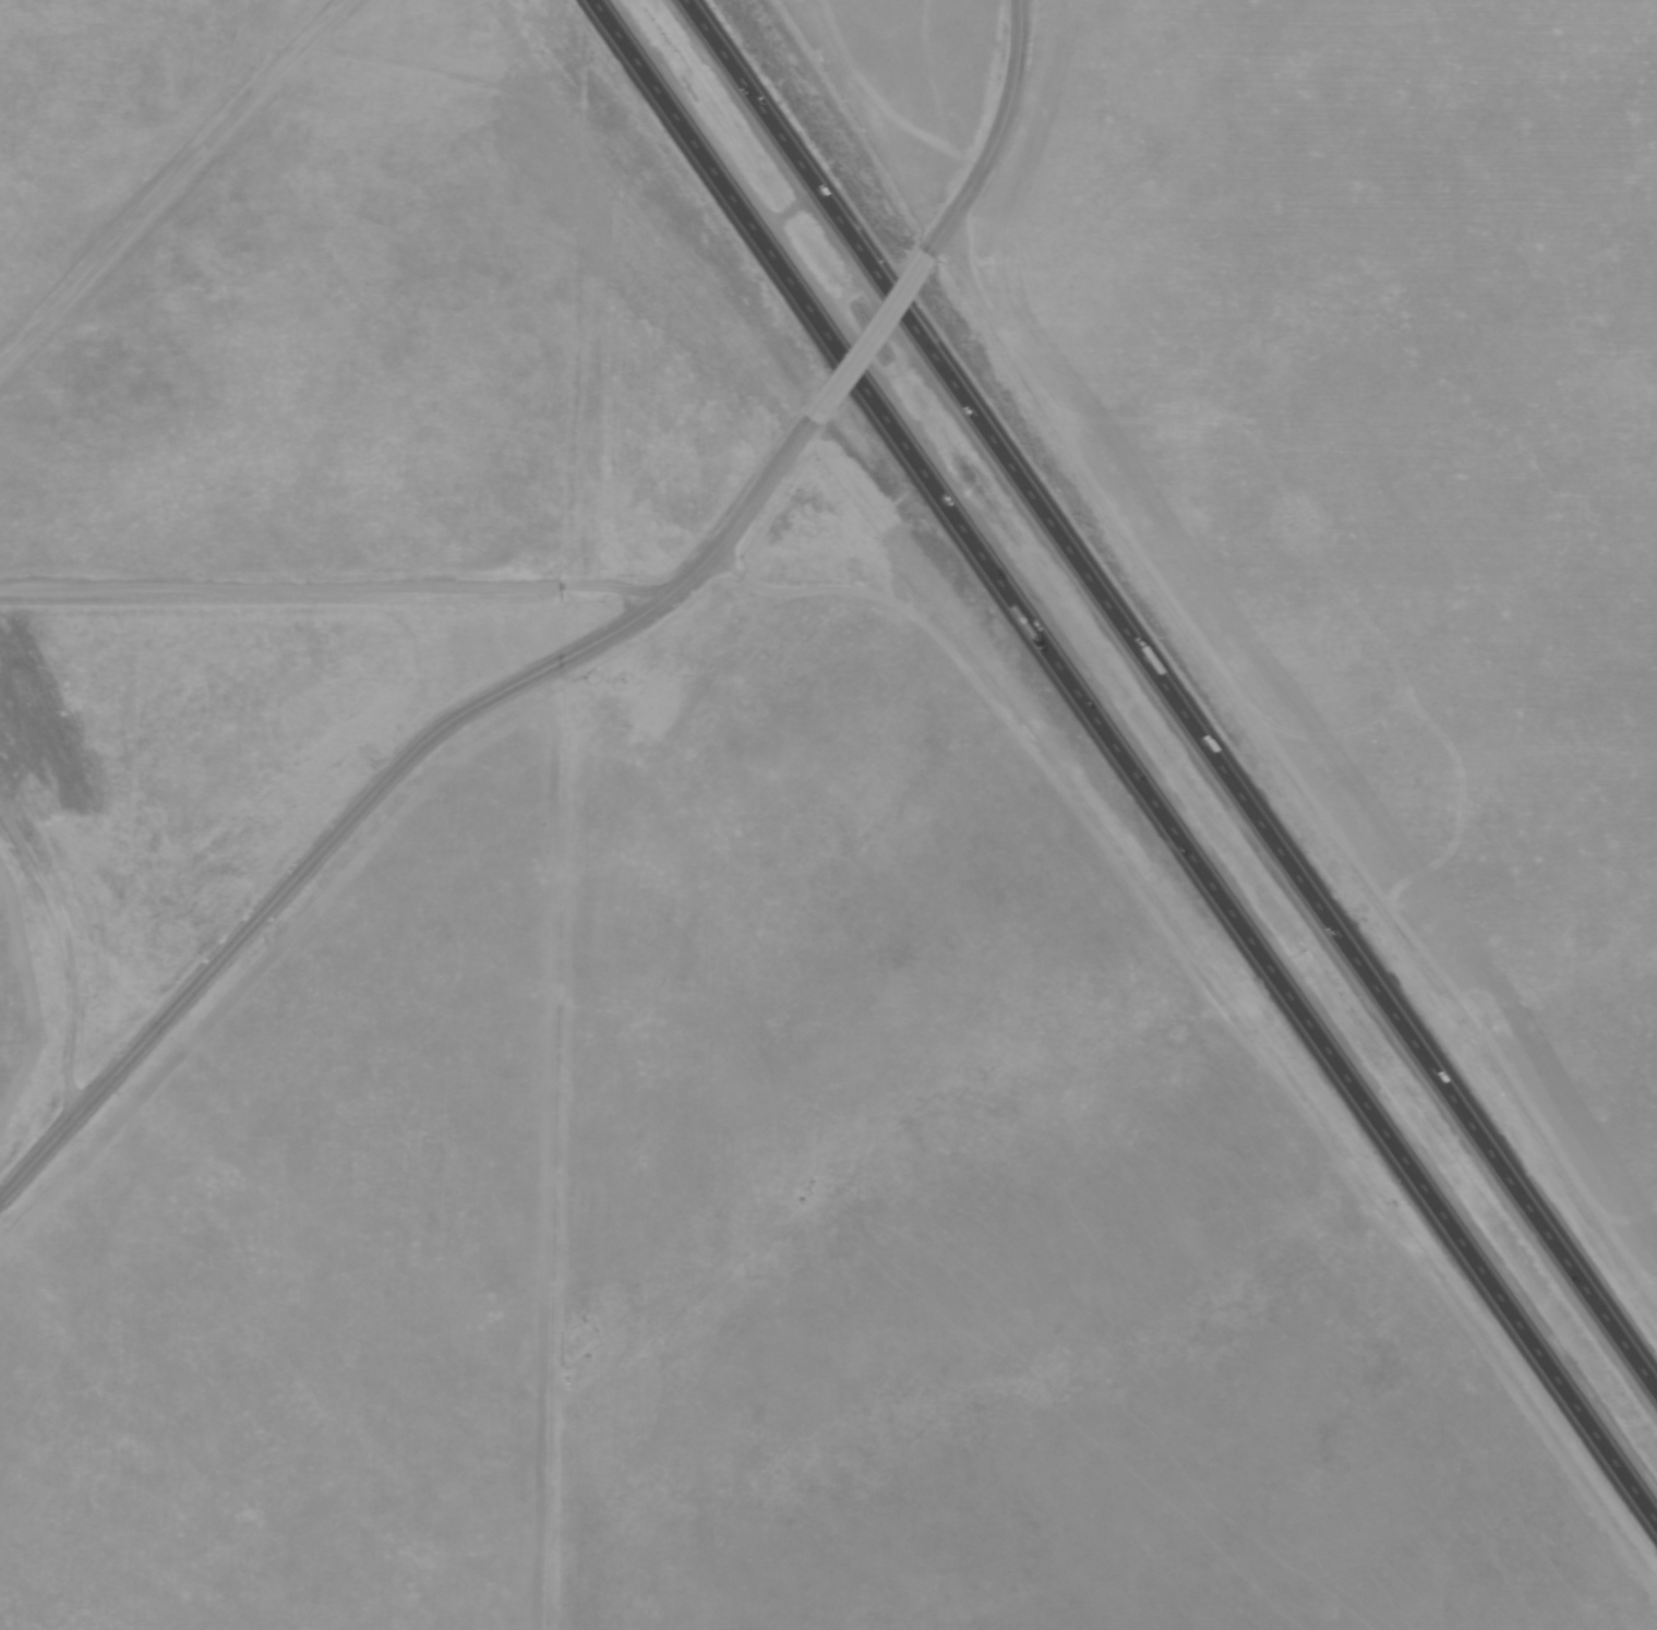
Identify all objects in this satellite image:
road: (1005, 139)
road: (176, 190)
road: (868, 340)
crop: (1401, 431)
road: (332, 591)
road: (1174, 690)
road: (1128, 760)
road: (384, 780)
road: (1288, 780)
road: (72, 945)
road: (1229, 1009)

